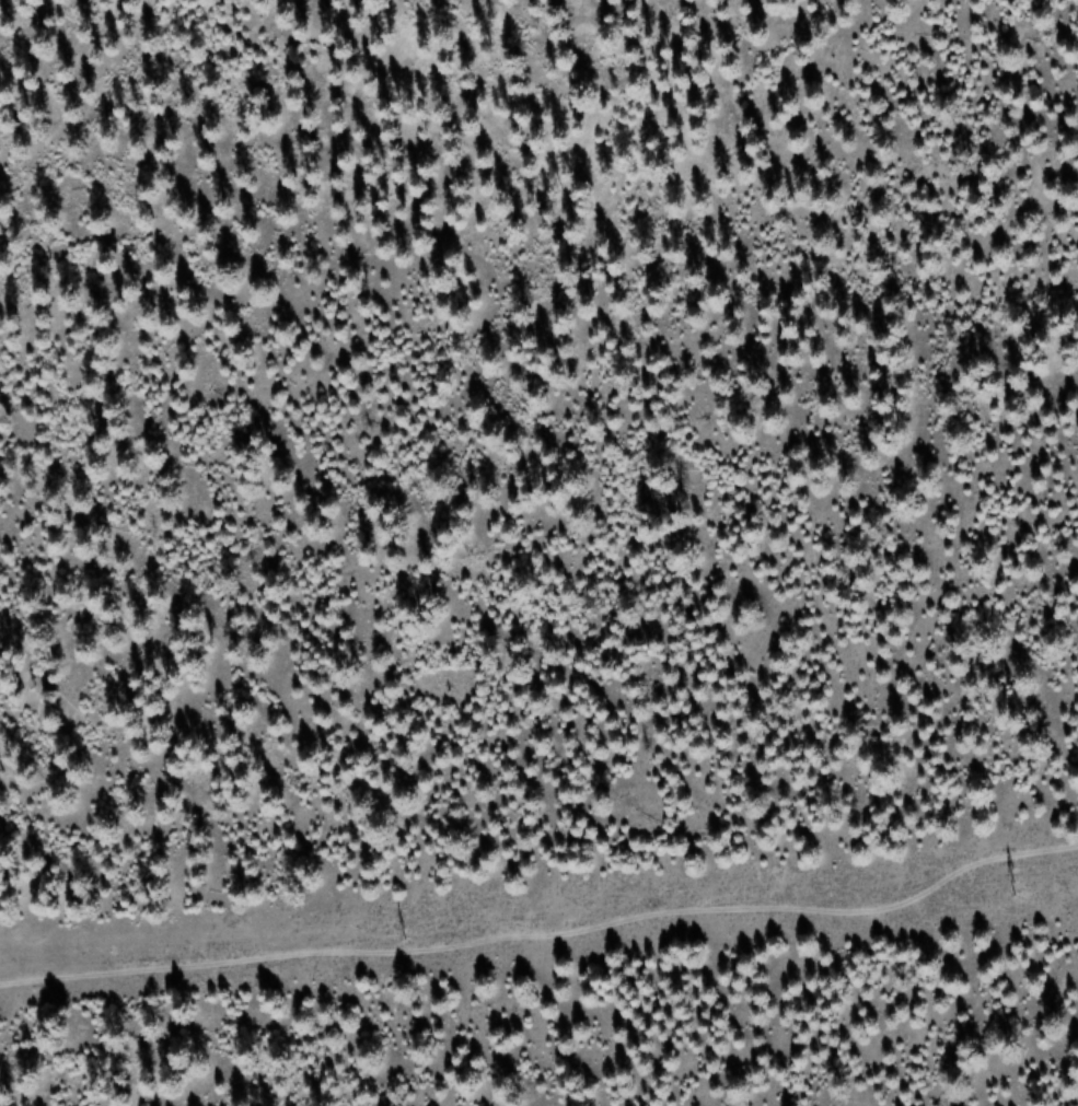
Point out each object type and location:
power tower: (1017, 880)
power tower: (404, 928)

